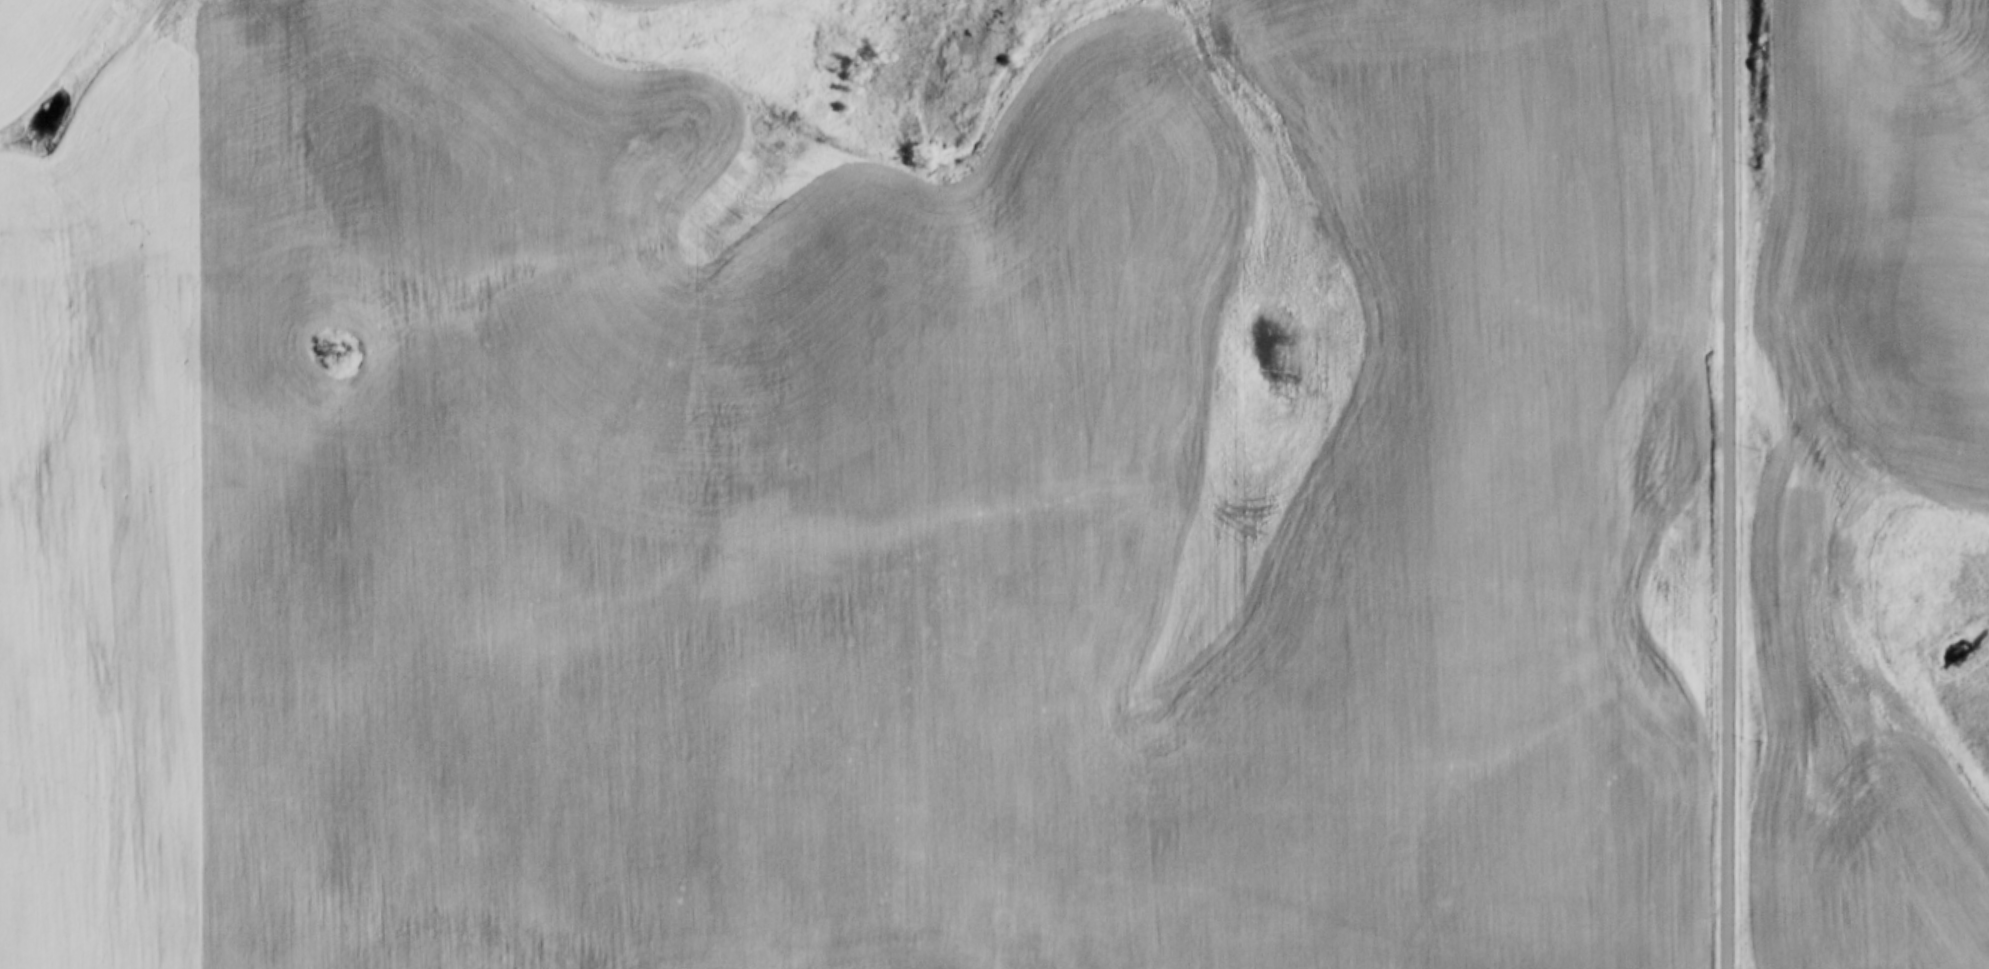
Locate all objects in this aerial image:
road: (1730, 484)

